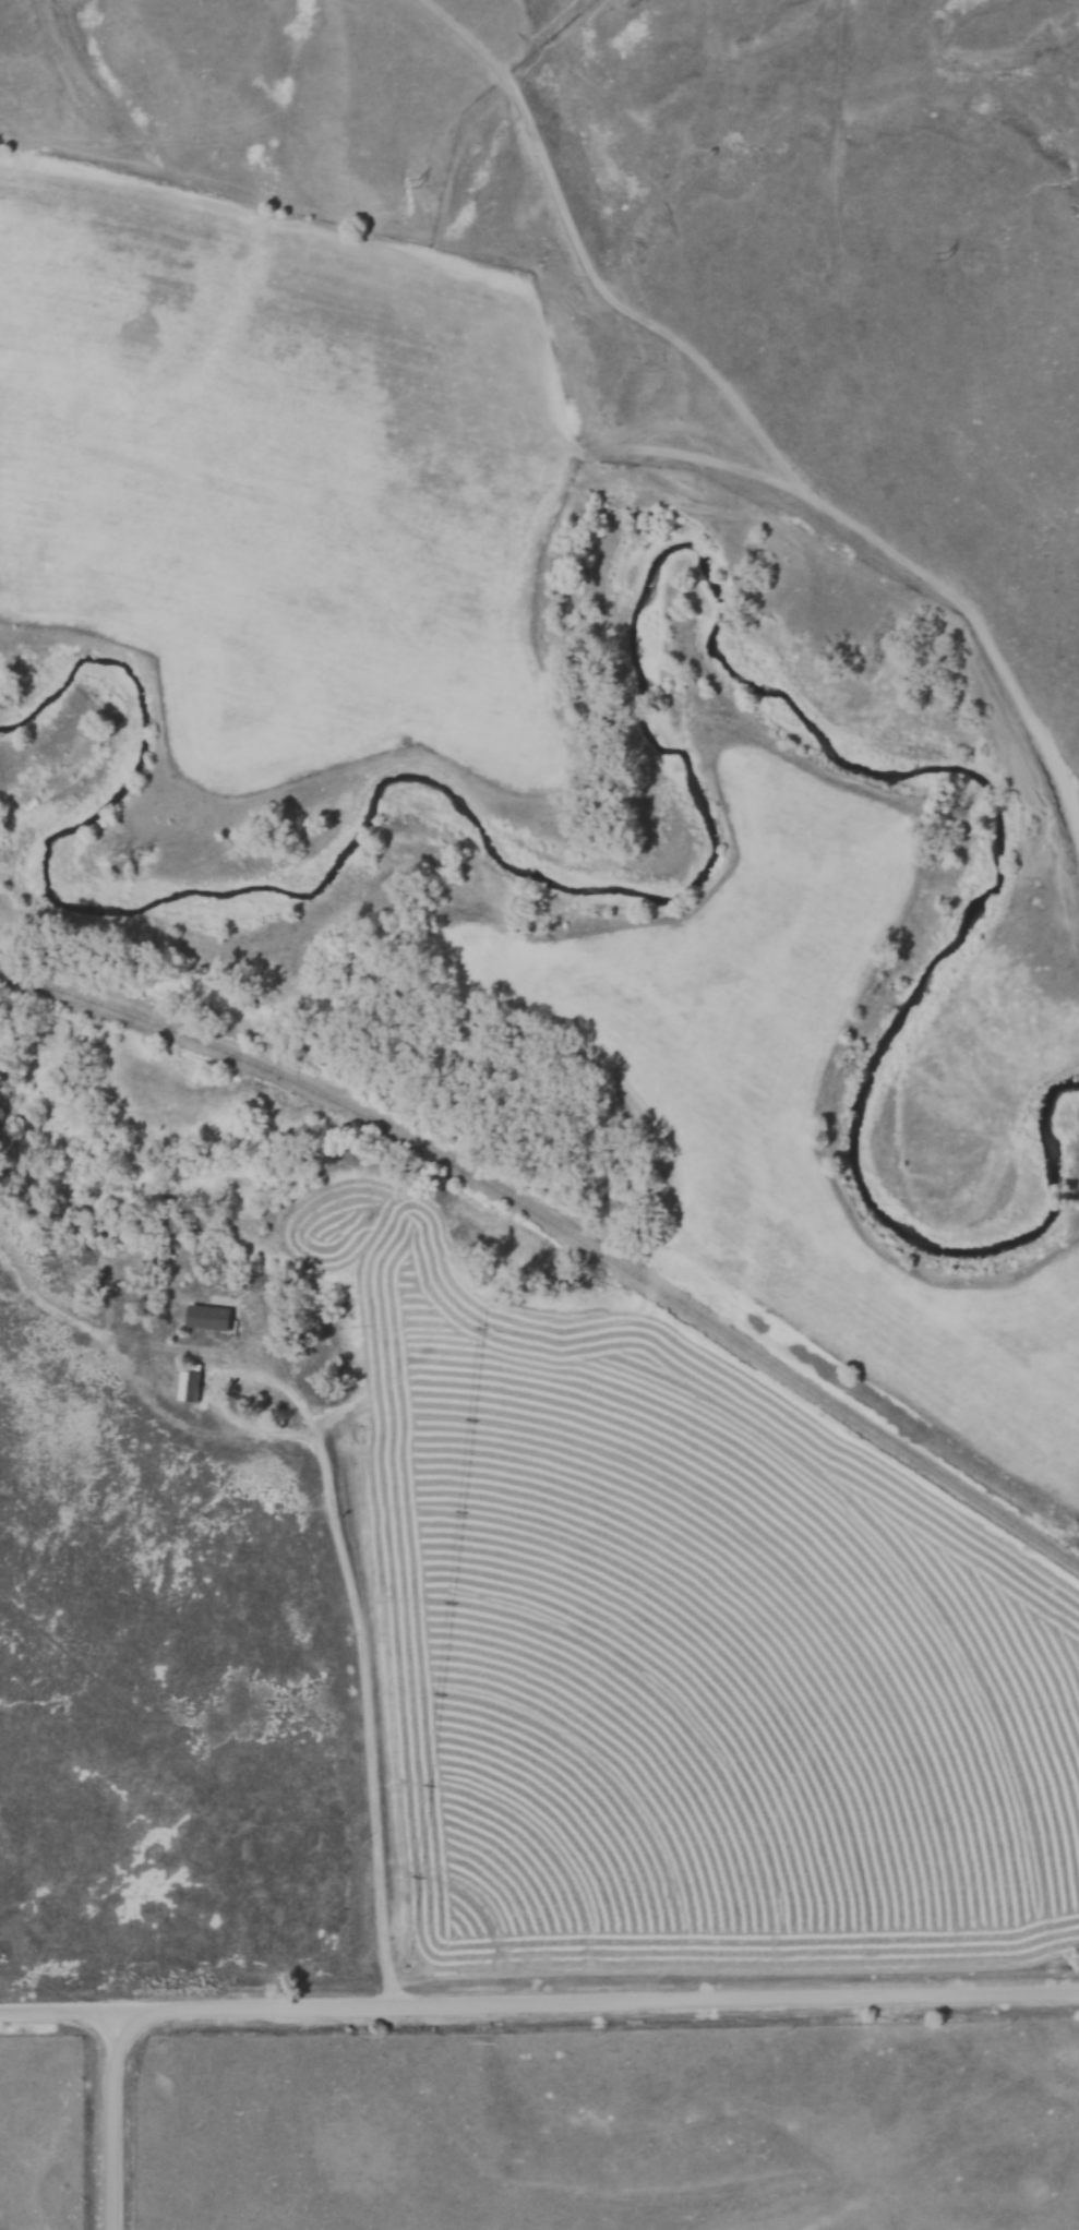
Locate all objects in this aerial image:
crop: (805, 1099)
railway: (560, 1228)
building: (207, 1318)
building: (189, 1387)
crop: (681, 1644)
road: (365, 1655)
road: (490, 2006)
road: (59, 2014)

